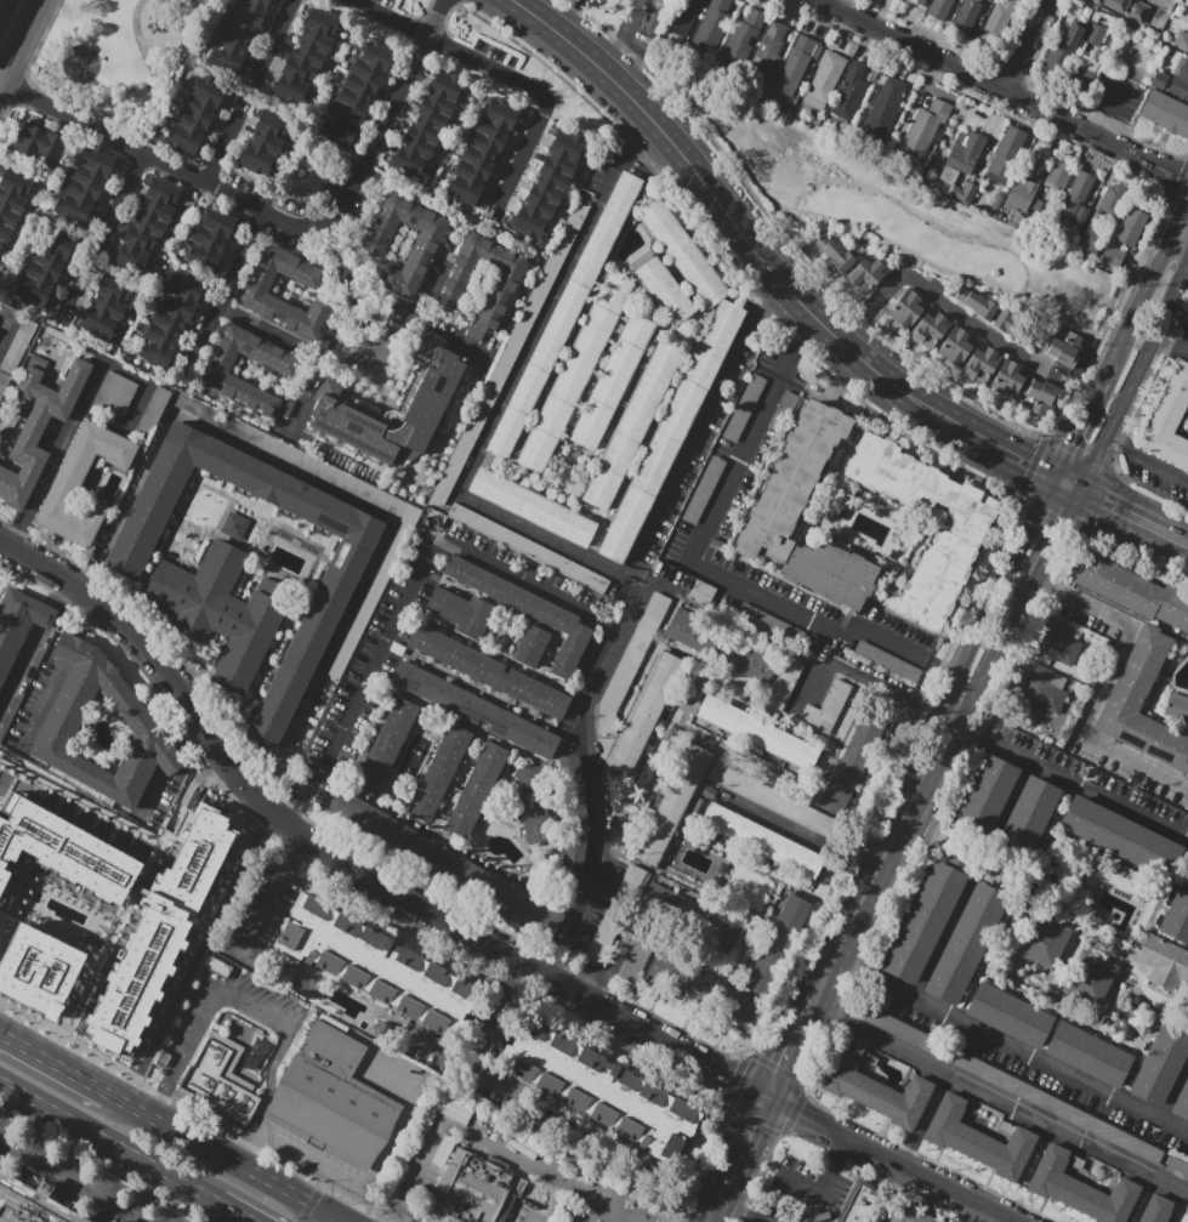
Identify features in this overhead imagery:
road: (515, 1)
building: (917, 1)
building: (923, 1)
building: (1, 2)
parking lot: (388, 2)
park: (411, 7)
building: (938, 8)
building: (1126, 8)
building: (656, 13)
building: (965, 16)
road: (392, 17)
road: (570, 17)
building: (681, 17)
building: (997, 21)
road: (631, 22)
building: (711, 25)
road: (275, 34)
building: (238, 35)
building: (1096, 35)
building: (743, 39)
building: (1181, 40)
road: (166, 41)
road: (21, 42)
road: (1025, 44)
building: (1064, 50)
building: (767, 52)
building: (307, 56)
road: (610, 57)
park: (121, 58)
park: (83, 62)
building: (1088, 64)
building: (795, 66)
road: (152, 75)
building: (1187, 79)
building: (824, 80)
building: (1187, 86)
building: (359, 89)
road: (1007, 90)
building: (849, 92)
road: (541, 95)
parking lot: (1115, 97)
building: (882, 107)
road: (284, 108)
road: (1109, 109)
building: (1165, 112)
building: (197, 113)
building: (430, 124)
road: (636, 125)
building: (926, 125)
building: (263, 142)
building: (40, 144)
road: (222, 147)
road: (1161, 149)
building: (481, 150)
building: (966, 152)
building: (1007, 154)
building: (1061, 174)
building: (86, 183)
building: (550, 184)
road: (706, 188)
building: (1023, 189)
building: (964, 192)
building: (1112, 199)
building: (997, 200)
building: (12, 201)
building: (1078, 201)
road: (275, 218)
building: (1002, 218)
building: (148, 224)
building: (1131, 227)
road: (108, 229)
building: (210, 238)
building: (427, 240)
building: (1092, 240)
building: (682, 251)
building: (834, 252)
building: (1113, 256)
building: (45, 265)
road: (1186, 271)
building: (866, 274)
road: (1148, 283)
building: (505, 284)
building: (663, 290)
road: (351, 291)
road: (222, 297)
building: (256, 297)
road: (940, 301)
building: (976, 303)
building: (108, 307)
road: (763, 307)
building: (905, 308)
building: (563, 316)
road: (11, 319)
building: (171, 319)
building: (1013, 328)
building: (928, 330)
road: (455, 339)
road: (801, 339)
building: (18, 341)
road: (1148, 343)
building: (954, 346)
road: (1170, 346)
building: (1063, 349)
building: (982, 364)
building: (279, 365)
road: (363, 365)
building: (574, 373)
road: (1102, 376)
building: (1007, 377)
building: (613, 381)
road: (1074, 385)
road: (309, 390)
building: (1041, 394)
building: (428, 398)
road: (504, 398)
building: (133, 402)
road: (1090, 402)
road: (925, 405)
building: (744, 409)
building: (783, 413)
building: (1169, 421)
building: (473, 425)
building: (631, 426)
building: (39, 428)
building: (669, 432)
road: (1068, 441)
road: (692, 442)
traffic signals: (1068, 443)
road: (1004, 448)
road: (57, 455)
road: (1093, 457)
road: (1143, 461)
traffic signals: (1029, 462)
road: (1062, 481)
building: (66, 485)
road: (339, 487)
building: (704, 490)
building: (781, 499)
traffic signals: (1103, 502)
building: (533, 507)
road: (1036, 510)
road: (1125, 513)
road: (1055, 521)
traffic signals: (1055, 522)
building: (234, 524)
road: (291, 529)
building: (960, 536)
road: (1183, 541)
building: (528, 549)
road: (705, 569)
road: (1028, 574)
road: (525, 582)
building: (198, 590)
building: (275, 590)
road: (55, 591)
building: (701, 592)
building: (1132, 592)
building: (527, 610)
building: (460, 613)
road: (44, 616)
building: (231, 618)
road: (90, 623)
building: (769, 624)
building: (19, 625)
road: (978, 632)
building: (249, 643)
building: (530, 646)
building: (723, 646)
building: (1062, 646)
road: (73, 650)
building: (299, 660)
building: (886, 660)
road: (988, 660)
building: (631, 663)
road: (943, 666)
road: (19, 667)
road: (371, 667)
building: (488, 671)
building: (1135, 676)
building: (784, 684)
road: (872, 686)
road: (1099, 686)
building: (1046, 688)
road: (44, 706)
building: (828, 707)
building: (1176, 707)
building: (473, 709)
building: (68, 710)
building: (646, 715)
road: (960, 728)
building: (757, 733)
building: (386, 745)
building: (851, 769)
building: (439, 771)
road: (590, 771)
road: (192, 783)
road: (1079, 788)
building: (476, 790)
road: (913, 797)
building: (984, 798)
building: (772, 800)
building: (533, 803)
road: (1006, 803)
building: (672, 806)
road: (296, 811)
building: (1028, 818)
building: (381, 826)
road: (798, 835)
building: (1119, 837)
building: (762, 841)
road: (299, 848)
building: (63, 849)
road: (347, 865)
building: (496, 891)
road: (268, 902)
building: (615, 913)
building: (1177, 914)
building: (694, 916)
building: (925, 919)
road: (408, 923)
building: (159, 930)
road: (847, 933)
road: (938, 940)
building: (1042, 940)
building: (966, 943)
building: (779, 944)
building: (636, 953)
building: (1163, 961)
building: (377, 966)
road: (843, 967)
building: (36, 968)
road: (548, 968)
road: (604, 972)
building: (1088, 978)
building: (704, 989)
road: (217, 991)
road: (494, 1014)
building: (1010, 1014)
building: (906, 1033)
parking lot: (906, 1033)
road: (619, 1042)
road: (792, 1047)
road: (1021, 1053)
building: (1088, 1055)
building: (1160, 1062)
road: (465, 1064)
road: (53, 1065)
building: (220, 1076)
building: (1006, 1082)
parking lot: (1006, 1082)
building: (875, 1087)
road: (1172, 1087)
building: (598, 1089)
road: (165, 1090)
road: (266, 1092)
building: (330, 1098)
traffic signals: (768, 1101)
building: (1181, 1102)
road: (999, 1104)
road: (922, 1121)
building: (1108, 1133)
parking lot: (1108, 1133)
building: (978, 1139)
road: (107, 1142)
road: (745, 1143)
road: (843, 1148)
road: (222, 1156)
road: (892, 1160)
building: (1177, 1167)
parking lot: (1177, 1167)
road: (421, 1169)
road: (538, 1169)
parking lot: (507, 1172)
parking lot: (73, 1180)
road: (68, 1183)
road: (803, 1184)
building: (1079, 1188)
road: (824, 1189)
building: (470, 1192)
road: (142, 1193)
parking lot: (802, 1194)
road: (546, 1200)
road: (1141, 1200)
road: (1173, 1200)
building: (30, 1203)
building: (866, 1203)
road: (716, 1205)
road: (729, 1210)
building: (1156, 1210)
road: (232, 1212)
road: (592, 1212)
building: (909, 1215)
road: (1169, 1216)
building: (854, 1217)
road: (748, 1218)
road: (335, 1220)
road: (339, 1220)
road: (377, 1220)
building: (114, 1221)

